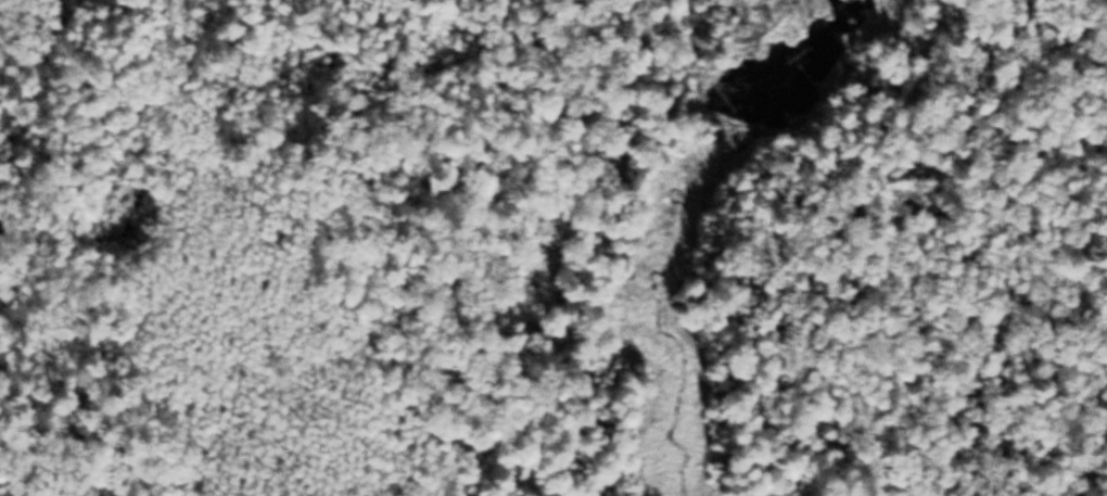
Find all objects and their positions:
road: (40, 374)

